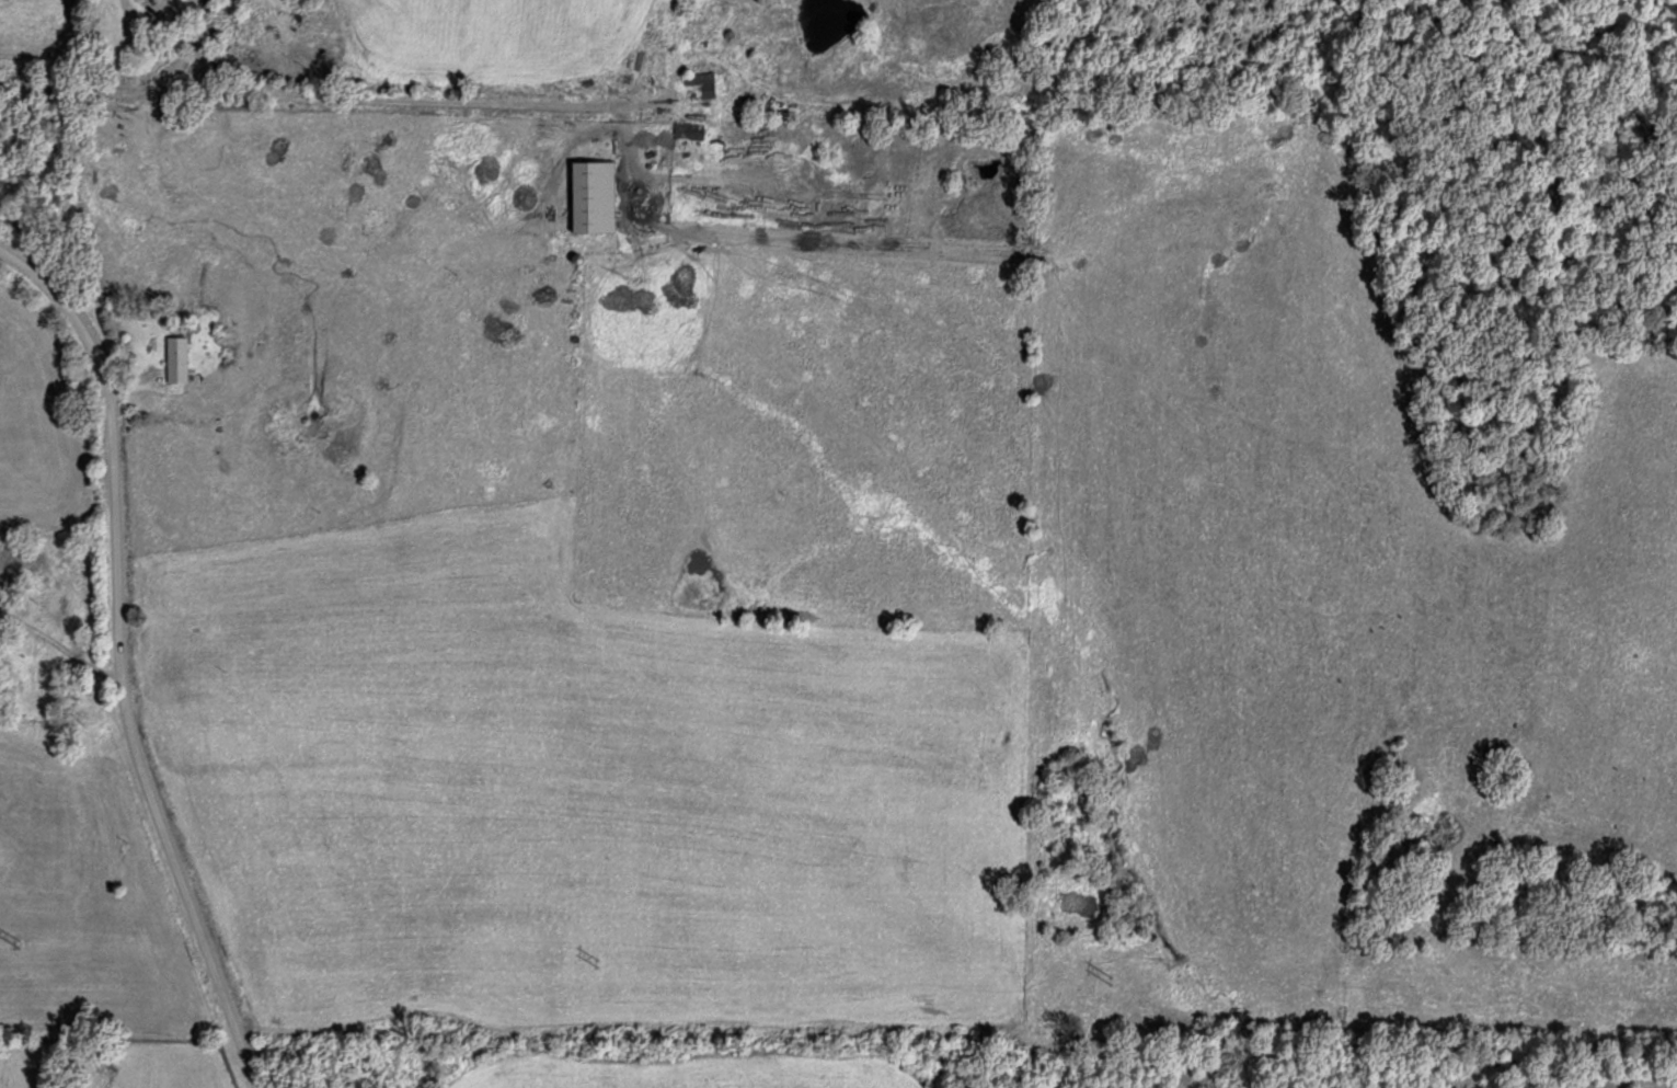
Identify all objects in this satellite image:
building: (697, 85)
road: (519, 111)
building: (685, 129)
building: (587, 196)
building: (182, 358)
road: (118, 663)

